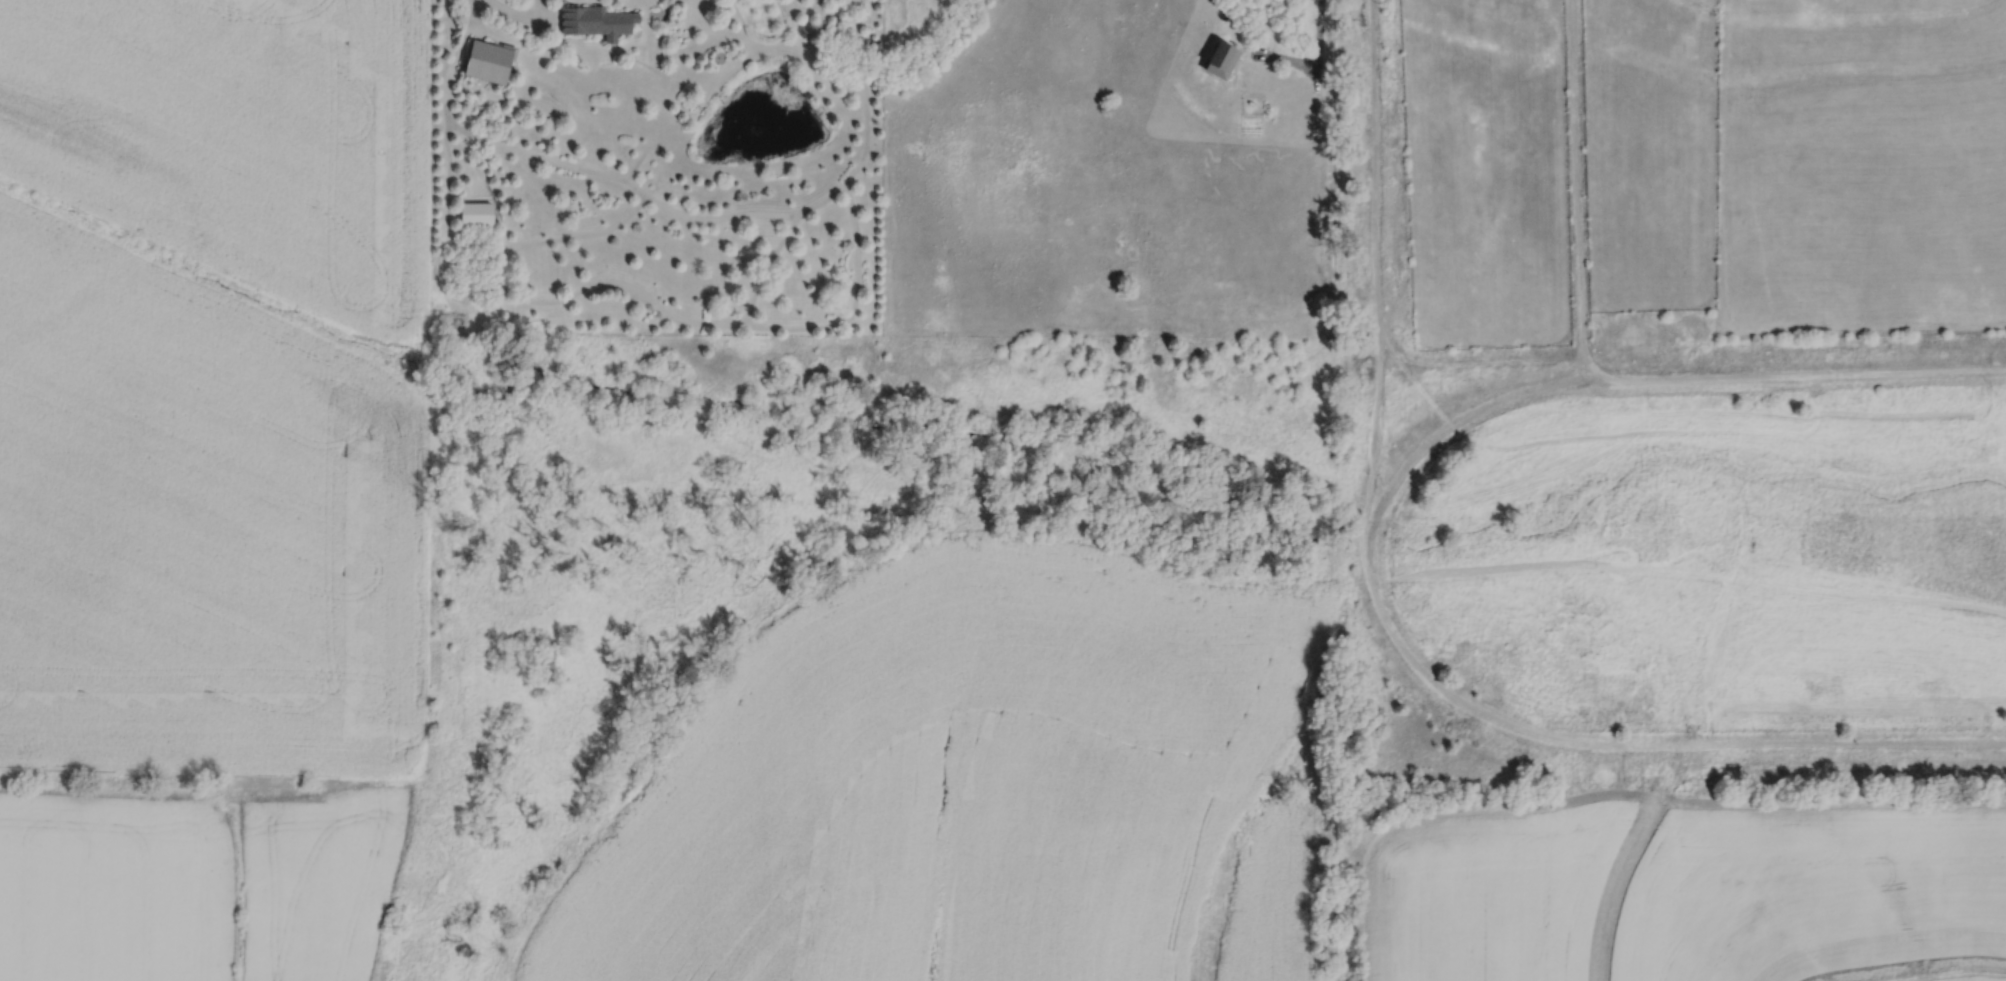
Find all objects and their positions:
road: (537, 9)
road: (522, 16)
road: (477, 20)
building: (596, 22)
road: (1318, 27)
building: (488, 61)
road: (445, 101)
building: (476, 214)

